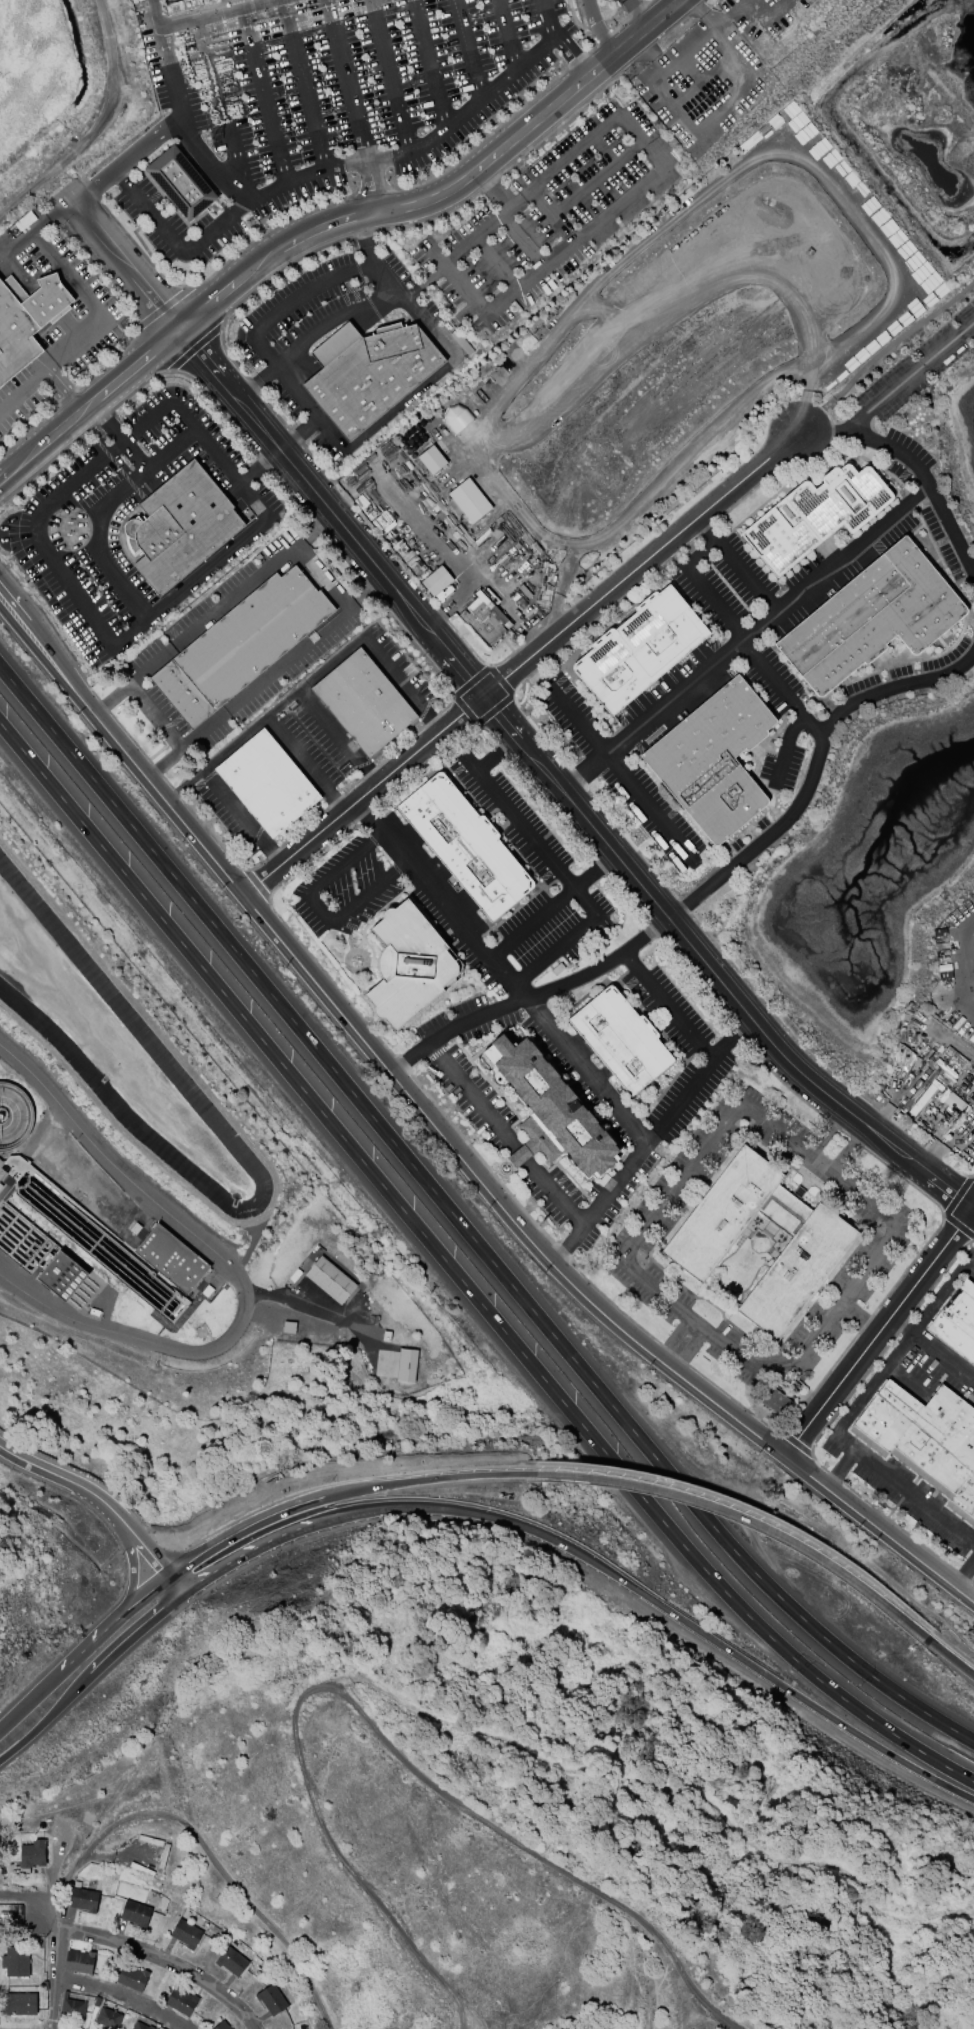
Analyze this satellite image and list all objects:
road: (155, 12)
road: (206, 12)
road: (637, 12)
road: (700, 14)
road: (547, 22)
road: (597, 28)
road: (506, 34)
road: (467, 49)
road: (574, 58)
road: (428, 64)
road: (388, 75)
road: (701, 76)
road: (345, 79)
road: (303, 84)
road: (263, 93)
road: (224, 108)
road: (183, 124)
road: (694, 128)
road: (127, 159)
road: (327, 167)
road: (596, 174)
building: (180, 182)
road: (372, 186)
road: (443, 192)
road: (619, 200)
road: (551, 212)
road: (52, 214)
road: (520, 238)
road: (118, 257)
road: (493, 261)
road: (438, 269)
road: (103, 311)
building: (26, 319)
road: (307, 332)
road: (428, 332)
road: (65, 333)
road: (882, 352)
building: (368, 372)
road: (909, 379)
road: (23, 388)
road: (295, 389)
road: (89, 403)
building: (456, 417)
road: (298, 432)
road: (138, 458)
building: (432, 459)
road: (257, 464)
road: (914, 466)
building: (470, 500)
building: (814, 515)
building: (179, 526)
road: (429, 532)
road: (82, 538)
road: (690, 571)
road: (322, 572)
road: (487, 578)
road: (815, 579)
building: (437, 580)
road: (168, 601)
building: (871, 617)
building: (485, 618)
road: (758, 625)
building: (240, 645)
building: (639, 648)
road: (329, 660)
road: (521, 665)
road: (668, 697)
road: (280, 700)
building: (363, 702)
road: (153, 712)
road: (537, 718)
road: (575, 718)
road: (232, 740)
road: (784, 747)
road: (497, 751)
building: (712, 759)
building: (266, 782)
road: (182, 783)
road: (557, 786)
road: (673, 839)
building: (465, 845)
road: (569, 877)
road: (709, 886)
road: (554, 907)
road: (318, 909)
road: (965, 946)
building: (409, 965)
road: (504, 972)
road: (667, 1009)
building: (620, 1039)
road: (369, 1047)
building: (548, 1107)
road: (826, 1132)
road: (507, 1134)
road: (650, 1142)
road: (695, 1163)
wastewater plant: (191, 1202)
road: (973, 1206)
road: (973, 1208)
road: (463, 1228)
building: (698, 1243)
building: (173, 1259)
road: (233, 1270)
building: (64, 1275)
building: (332, 1279)
road: (461, 1280)
road: (932, 1307)
building: (957, 1322)
road: (877, 1332)
road: (687, 1346)
building: (406, 1365)
road: (874, 1384)
building: (774, 1401)
building: (924, 1439)
road: (428, 1479)
road: (337, 1483)
road: (916, 1499)
road: (104, 1505)
road: (752, 1509)
road: (748, 1520)
road: (878, 1530)
road: (242, 1531)
road: (248, 1554)
road: (134, 1574)
road: (964, 1577)
road: (141, 1602)
road: (661, 1608)
road: (135, 1634)
road: (91, 1645)
road: (955, 1649)
road: (952, 1659)
road: (36, 1699)
road: (46, 1718)
road: (371, 1731)
road: (203, 1847)
building: (32, 1854)
road: (820, 1866)
building: (83, 1899)
building: (135, 1913)
building: (185, 1933)
road: (130, 1947)
building: (15, 1961)
building: (78, 1961)
building: (231, 1961)
road: (53, 1975)
building: (131, 1977)
road: (119, 1996)
building: (270, 1999)
building: (181, 2000)
building: (18, 2004)
building: (71, 2010)
building: (109, 2018)
building: (221, 2025)
building: (142, 2026)

